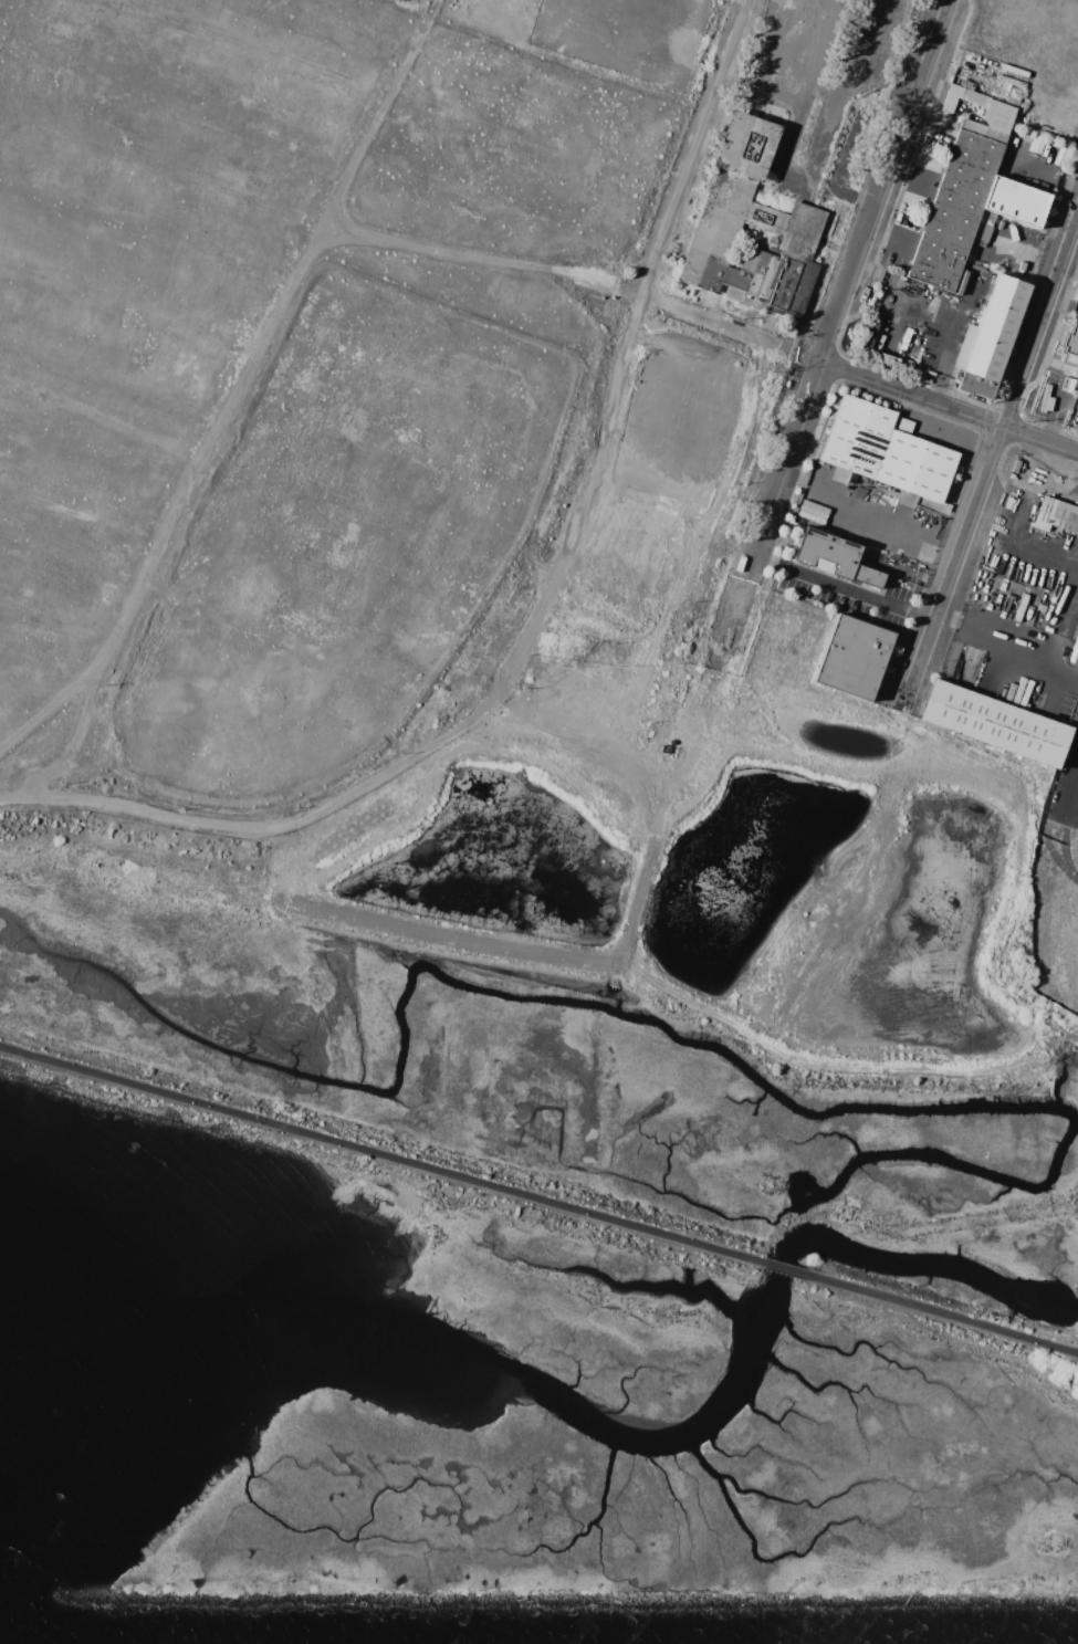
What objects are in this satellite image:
road: (814, 50)
road: (767, 62)
building: (966, 84)
building: (1013, 98)
building: (1001, 117)
building: (983, 132)
road: (821, 147)
road: (837, 172)
road: (908, 178)
building: (969, 209)
building: (743, 219)
road: (888, 239)
road: (1023, 254)
road: (723, 326)
road: (828, 333)
building: (993, 336)
building: (1070, 348)
road: (236, 400)
road: (941, 404)
road: (1049, 419)
building: (902, 426)
building: (886, 451)
road: (988, 460)
building: (1056, 516)
road: (859, 526)
building: (835, 557)
road: (841, 586)
road: (542, 601)
building: (854, 658)
road: (1038, 668)
building: (1009, 695)
building: (995, 724)
road: (1077, 776)
road: (1065, 827)
park: (327, 1144)
road: (378, 1156)
road: (783, 1271)
road: (943, 1319)
park: (951, 1328)
road: (954, 1337)

